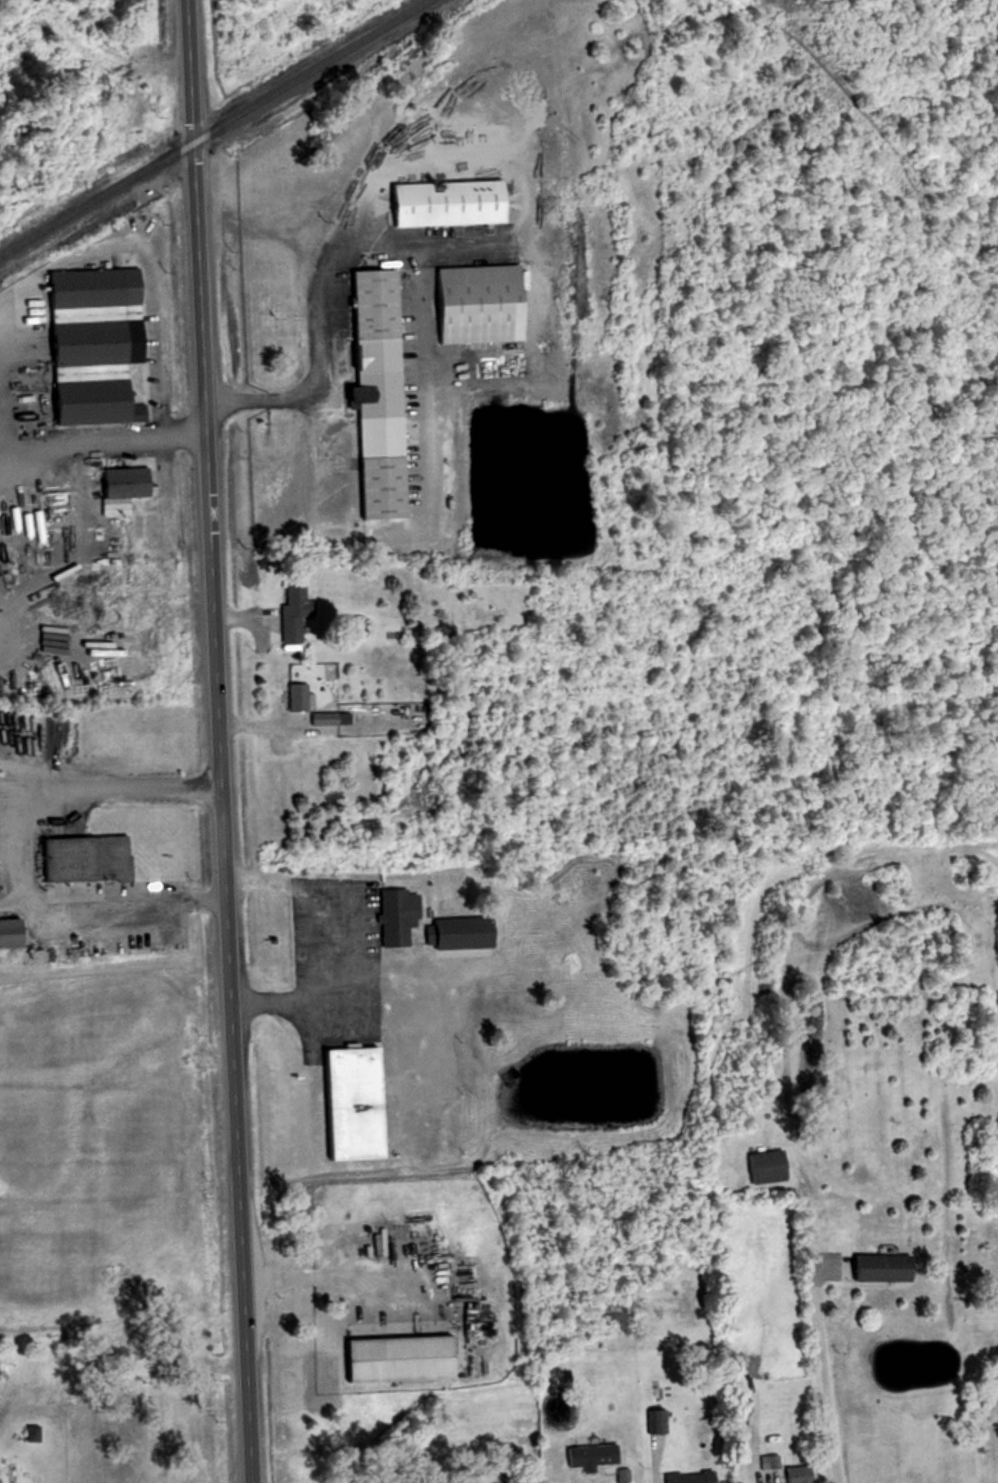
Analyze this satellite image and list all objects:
railway: (383, 78)
railway: (215, 128)
building: (462, 138)
road: (419, 159)
building: (447, 206)
building: (478, 308)
building: (96, 320)
building: (380, 396)
building: (92, 398)
road: (231, 402)
road: (3, 439)
road: (99, 444)
building: (125, 488)
building: (293, 612)
building: (169, 637)
building: (294, 696)
building: (322, 718)
road: (217, 741)
road: (18, 855)
building: (85, 861)
building: (393, 919)
building: (10, 934)
building: (455, 934)
road: (310, 937)
parking lot: (330, 969)
building: (356, 1106)
building: (762, 1168)
building: (877, 1268)
road: (342, 1274)
building: (392, 1358)
road: (823, 1373)
building: (740, 1386)
building: (655, 1421)
building: (29, 1433)
building: (588, 1455)
building: (767, 1462)
road: (649, 1464)
building: (795, 1474)
building: (687, 1477)
building: (480, 1480)

